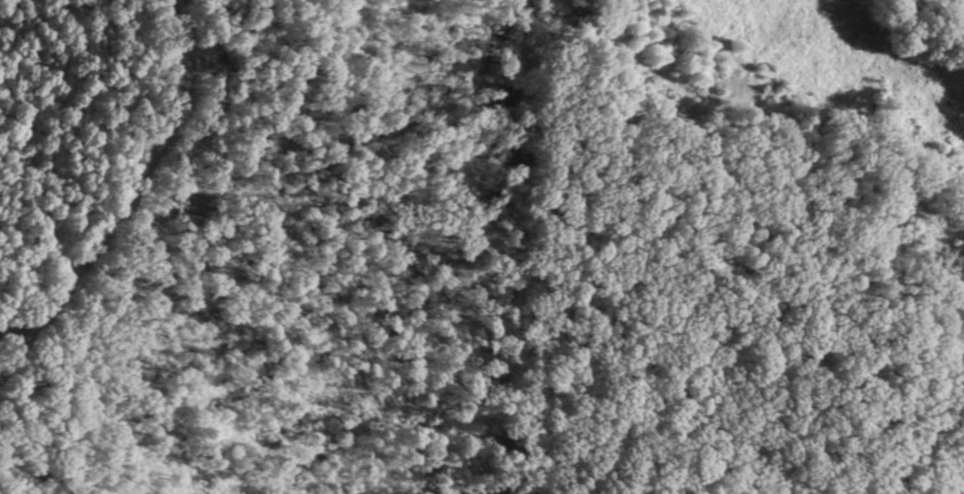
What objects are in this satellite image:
road: (120, 189)

